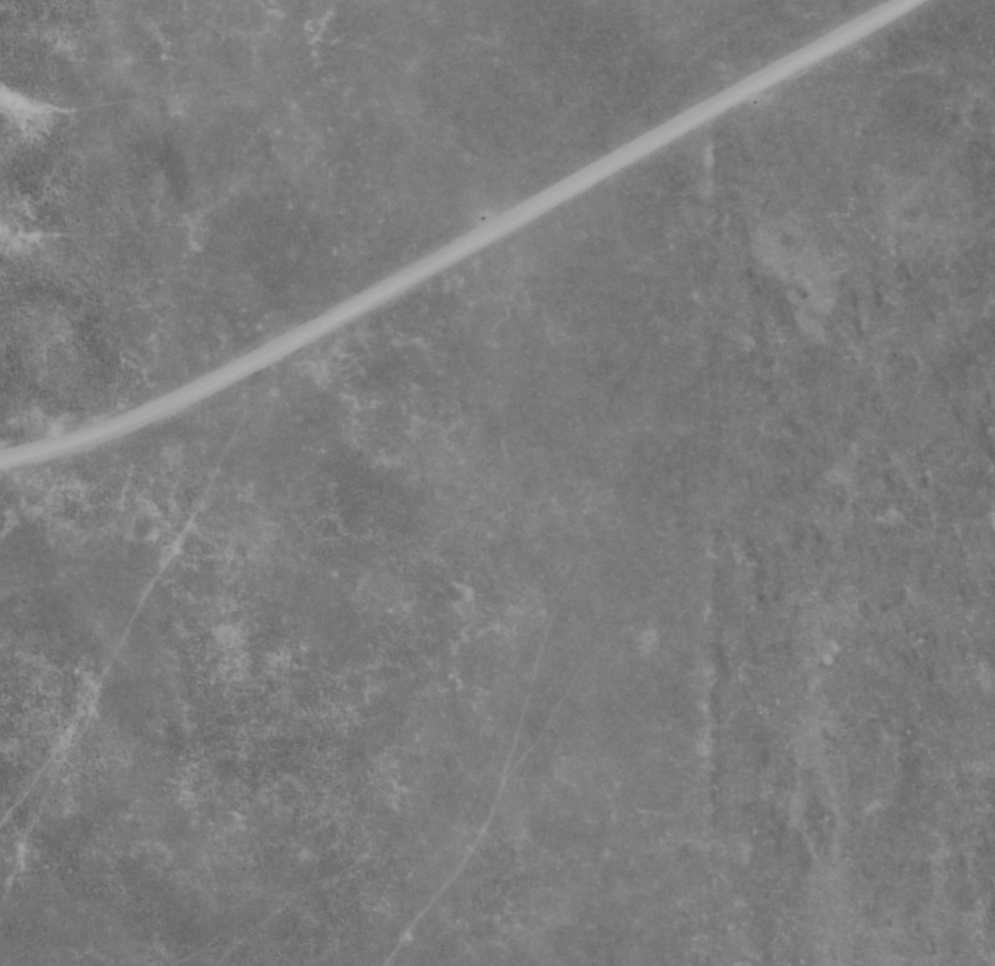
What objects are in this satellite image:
road: (460, 246)

